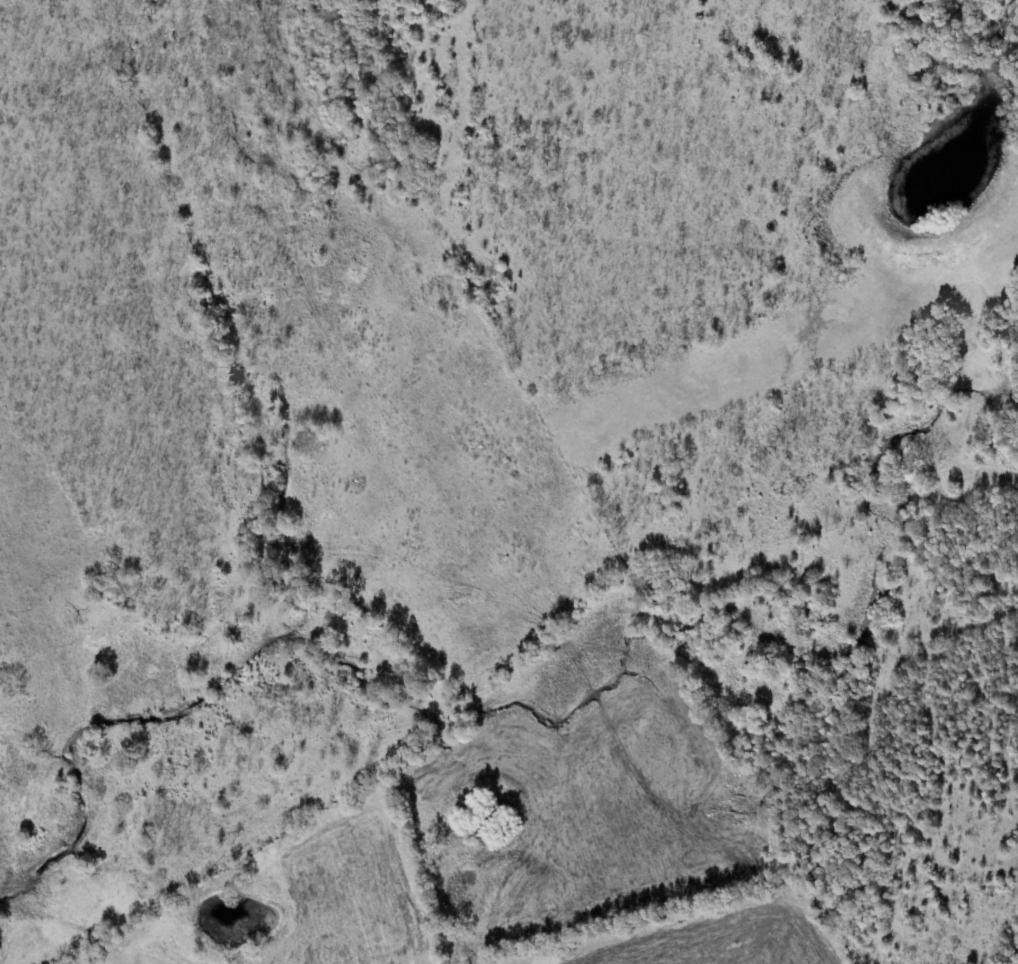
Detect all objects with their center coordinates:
road: (57, 924)

